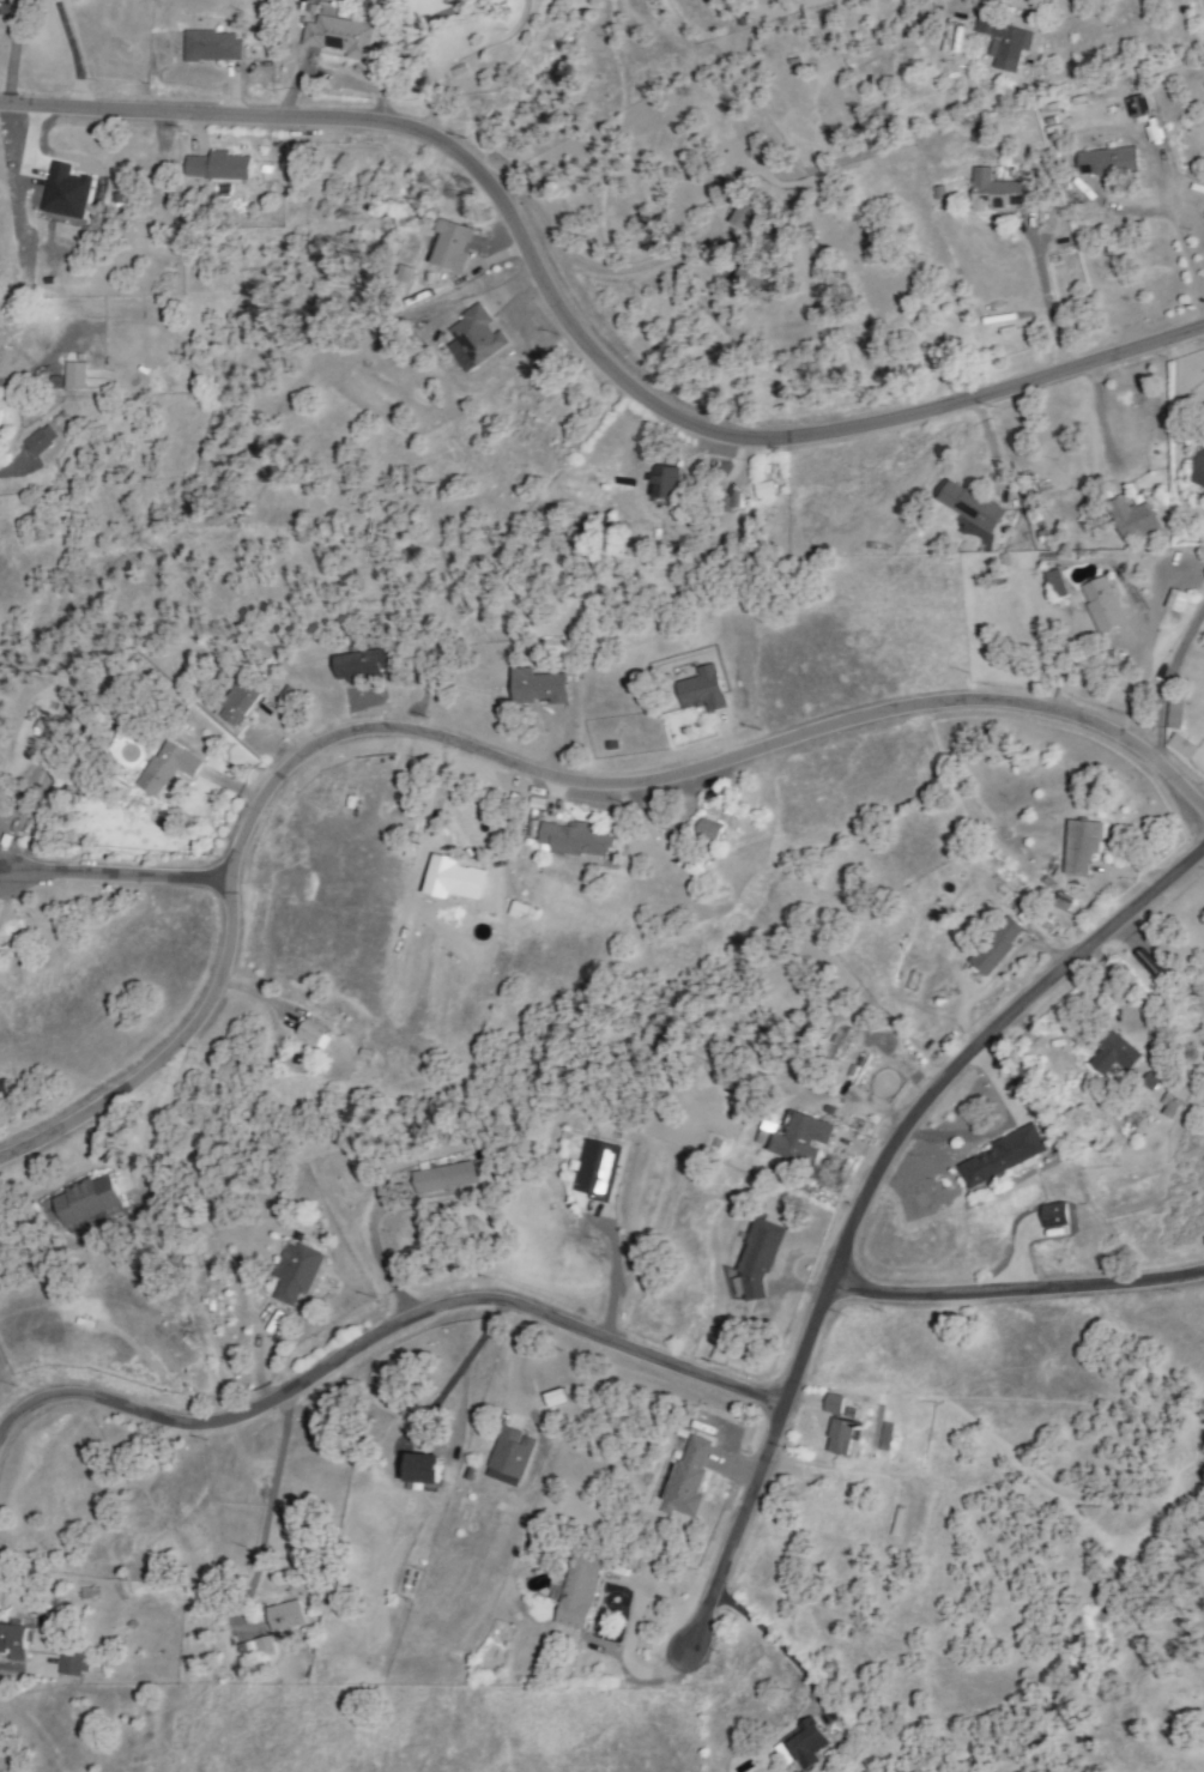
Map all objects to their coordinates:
building: (340, 36)
building: (1005, 37)
building: (212, 47)
road: (78, 52)
road: (460, 55)
building: (1139, 107)
building: (1109, 162)
building: (219, 167)
building: (996, 190)
building: (65, 192)
building: (744, 217)
building: (453, 247)
road: (1188, 254)
road: (587, 264)
building: (754, 273)
road: (1048, 297)
road: (575, 328)
building: (478, 334)
building: (75, 375)
road: (1103, 418)
building: (41, 441)
building: (1199, 471)
building: (668, 485)
building: (762, 490)
building: (973, 506)
building: (1133, 520)
building: (1057, 586)
building: (1178, 601)
building: (1103, 604)
building: (365, 665)
road: (1167, 684)
building: (540, 688)
building: (702, 690)
building: (291, 698)
building: (240, 704)
building: (1173, 713)
building: (1180, 745)
road: (502, 758)
building: (168, 767)
building: (525, 827)
building: (710, 833)
building: (576, 840)
building: (1082, 846)
road: (123, 875)
building: (1059, 901)
building: (514, 908)
building: (997, 945)
building: (315, 1033)
building: (1114, 1054)
building: (5, 1089)
building: (1164, 1105)
building: (803, 1138)
building: (1002, 1157)
building: (598, 1171)
building: (444, 1178)
road: (872, 1184)
building: (85, 1201)
building: (1057, 1215)
road: (380, 1257)
building: (758, 1260)
building: (297, 1274)
road: (609, 1278)
road: (1017, 1292)
road: (383, 1333)
building: (550, 1397)
building: (835, 1404)
building: (883, 1435)
building: (843, 1437)
building: (510, 1456)
building: (425, 1471)
building: (689, 1478)
road: (265, 1510)
building: (580, 1591)
building: (284, 1615)
building: (14, 1639)
road: (775, 1639)
building: (264, 1646)
road: (627, 1661)
building: (73, 1664)
building: (806, 1743)

